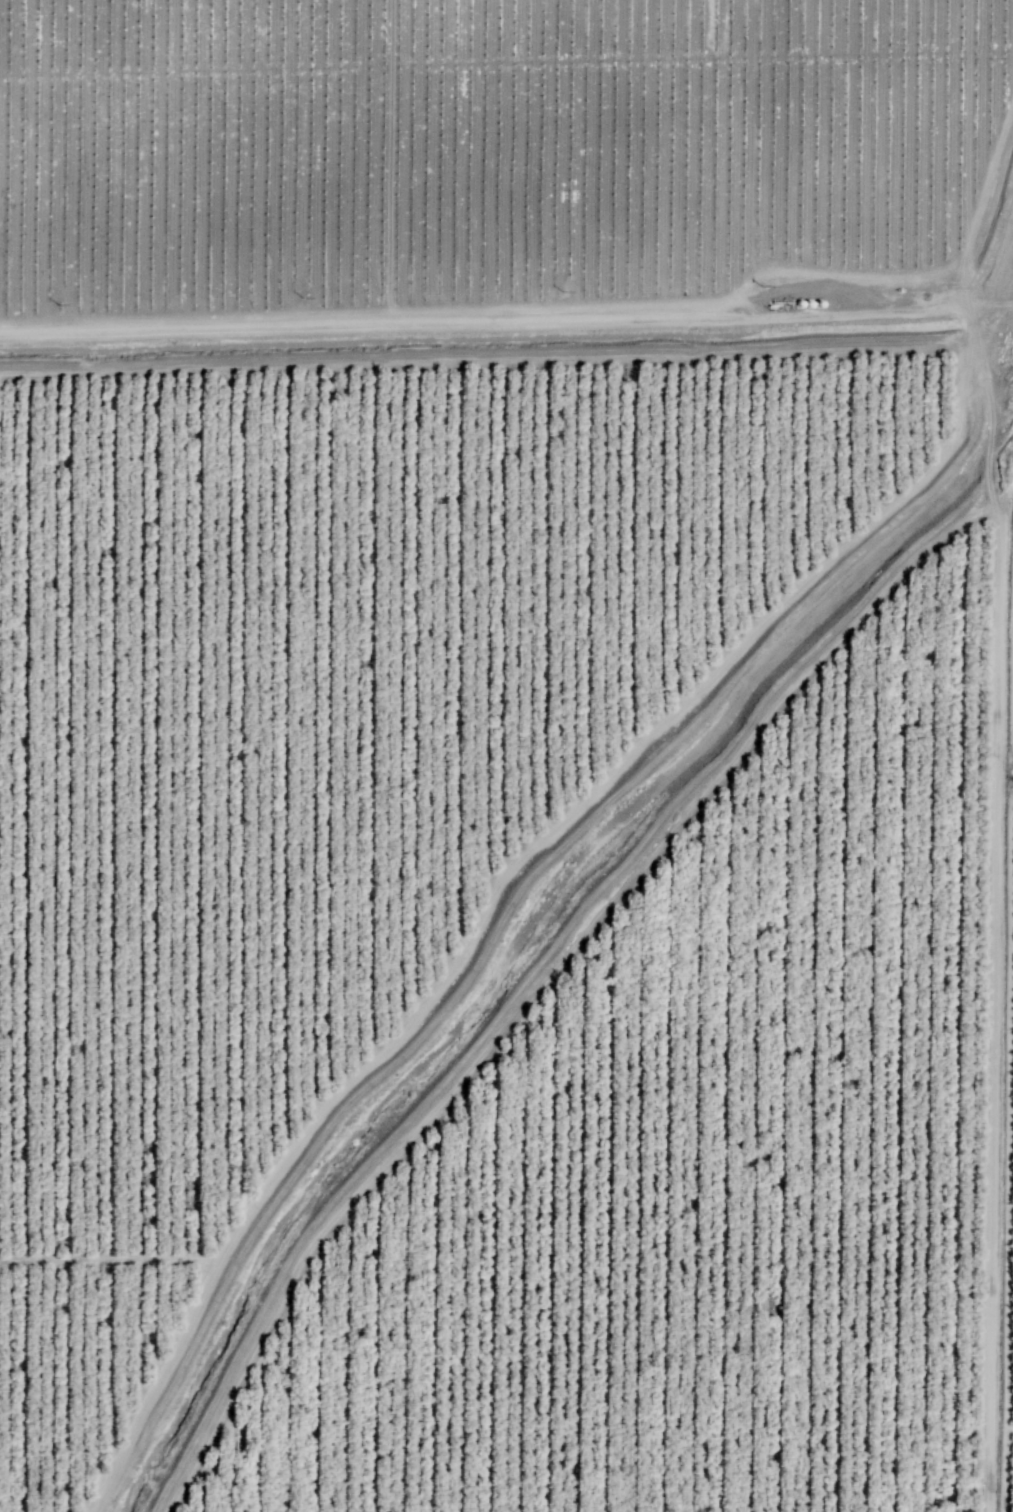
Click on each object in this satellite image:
road: (918, 147)
road: (480, 161)
crop: (498, 163)
road: (992, 230)
road: (992, 305)
road: (737, 311)
road: (358, 318)
road: (978, 321)
road: (485, 323)
road: (491, 352)
road: (1004, 494)
road: (505, 901)
road: (995, 923)
road: (531, 968)
road: (1005, 1155)
road: (117, 1260)
road: (1008, 1429)

